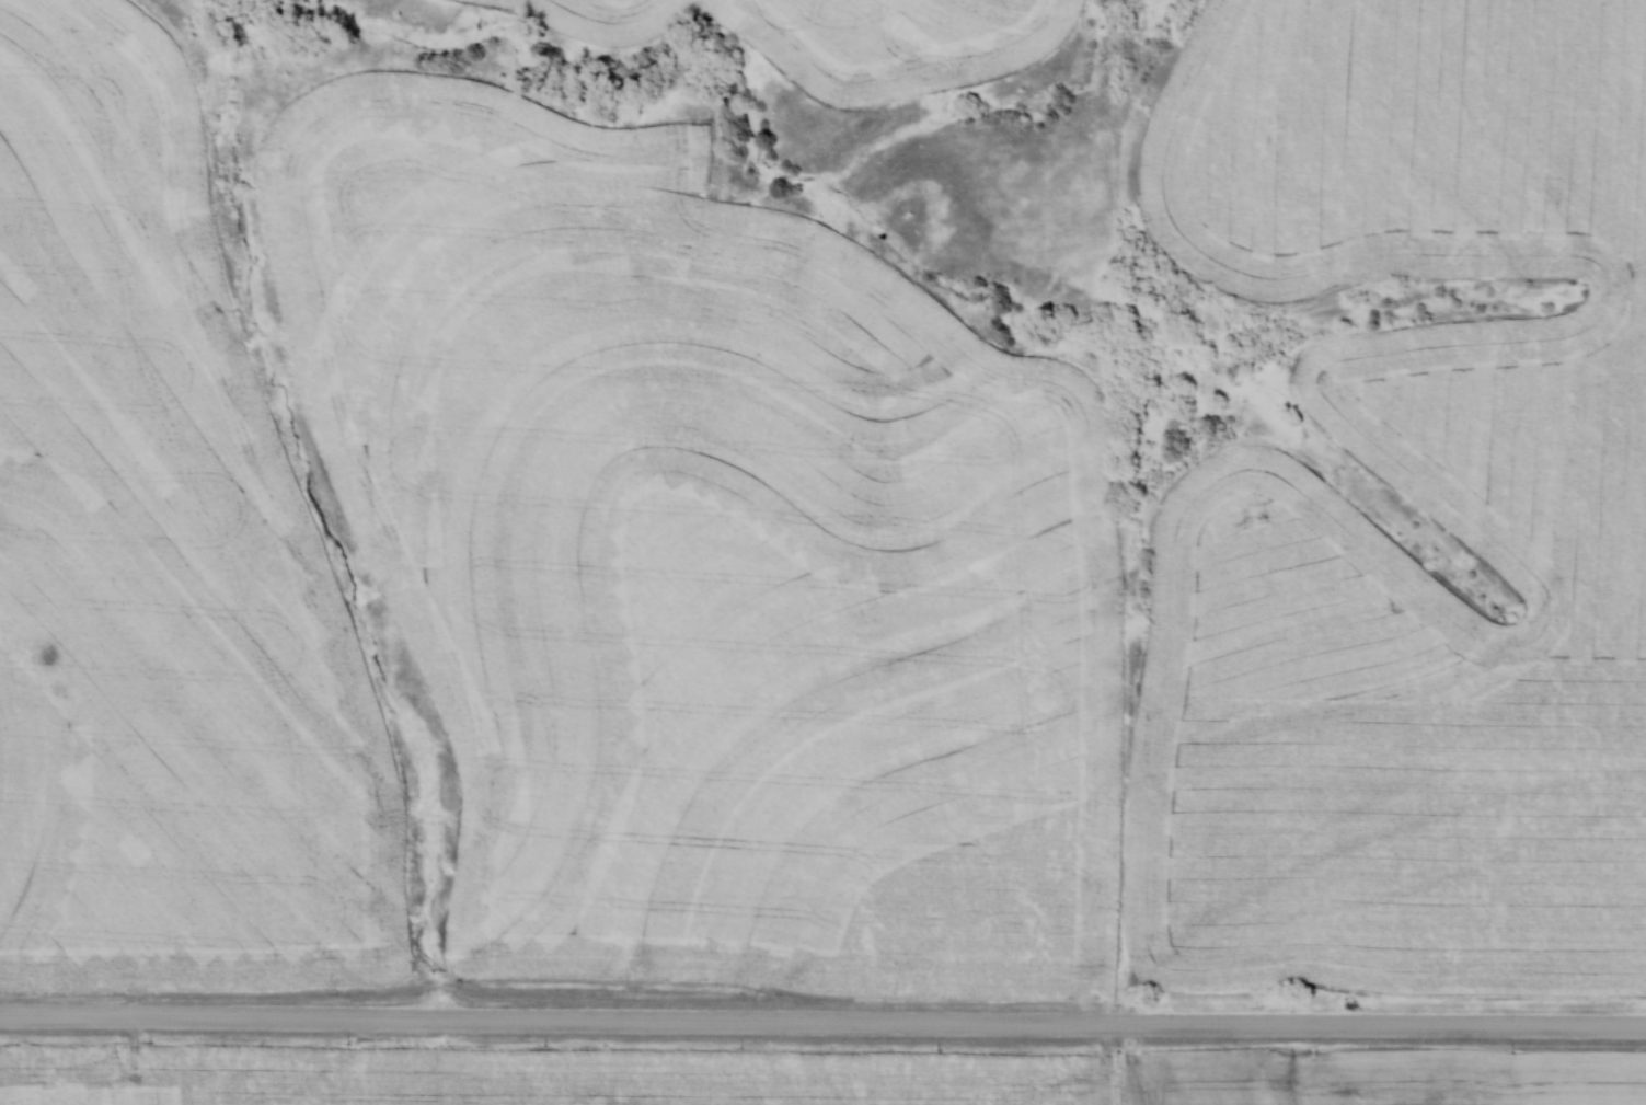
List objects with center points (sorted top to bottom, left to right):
road: (822, 1026)

